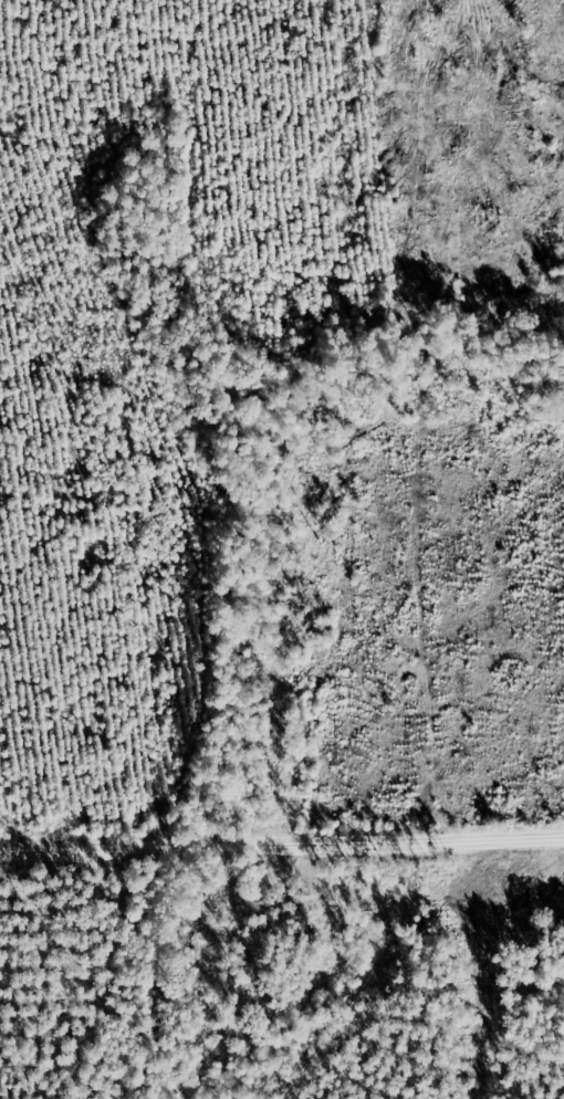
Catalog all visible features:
road: (282, 838)

